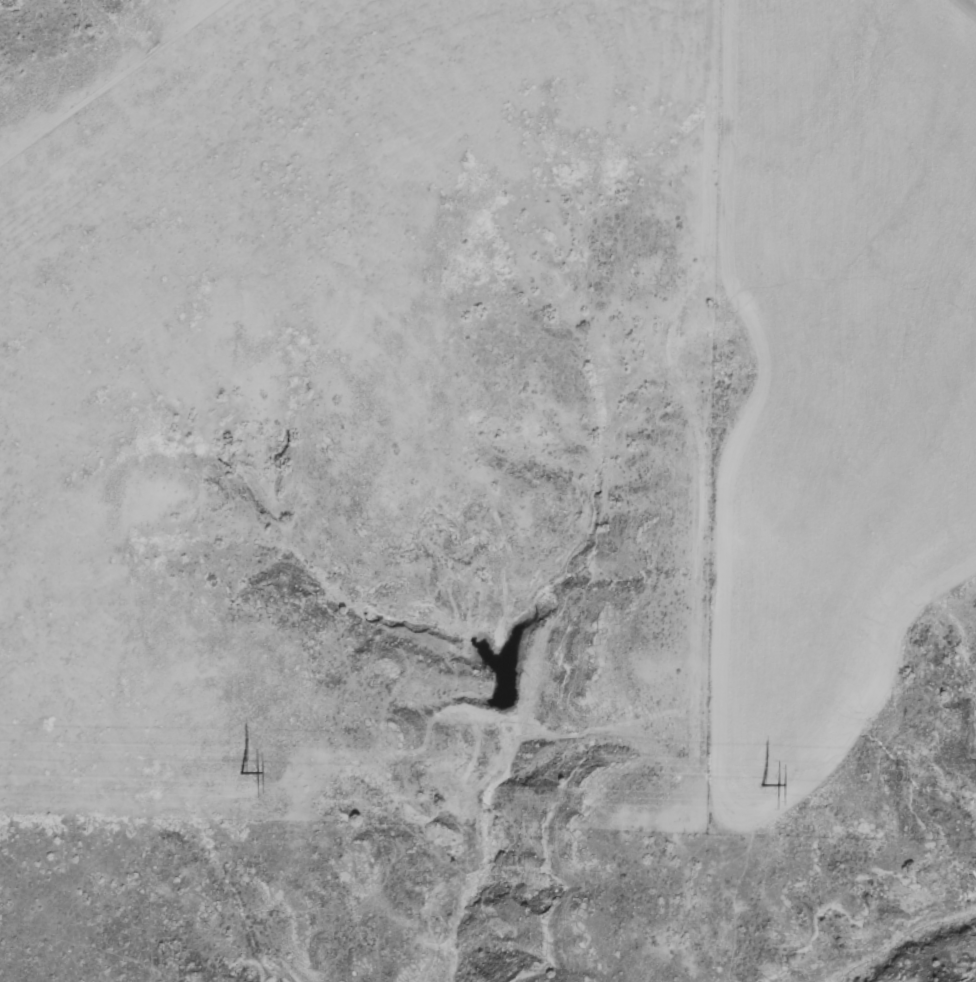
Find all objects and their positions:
road: (115, 81)
power tower: (243, 771)
power tower: (764, 783)

